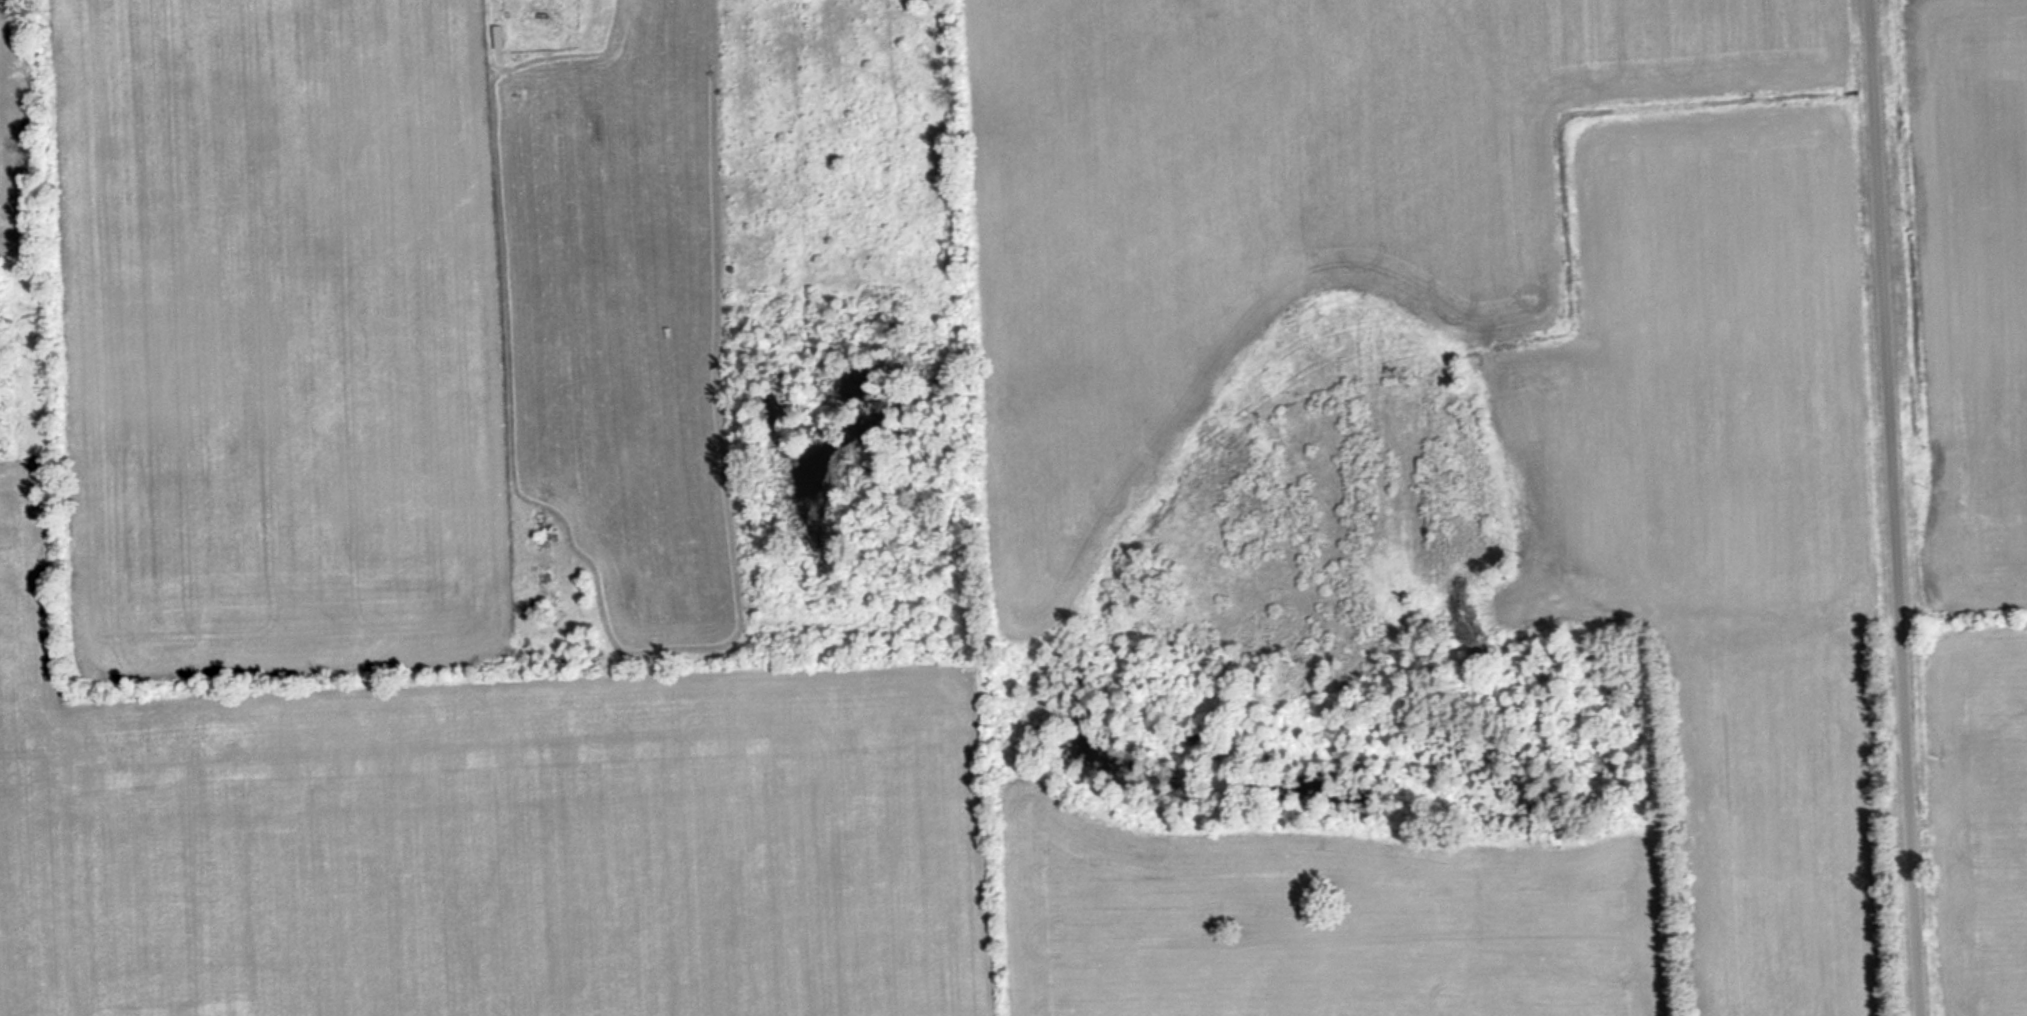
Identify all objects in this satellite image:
road: (1897, 508)

